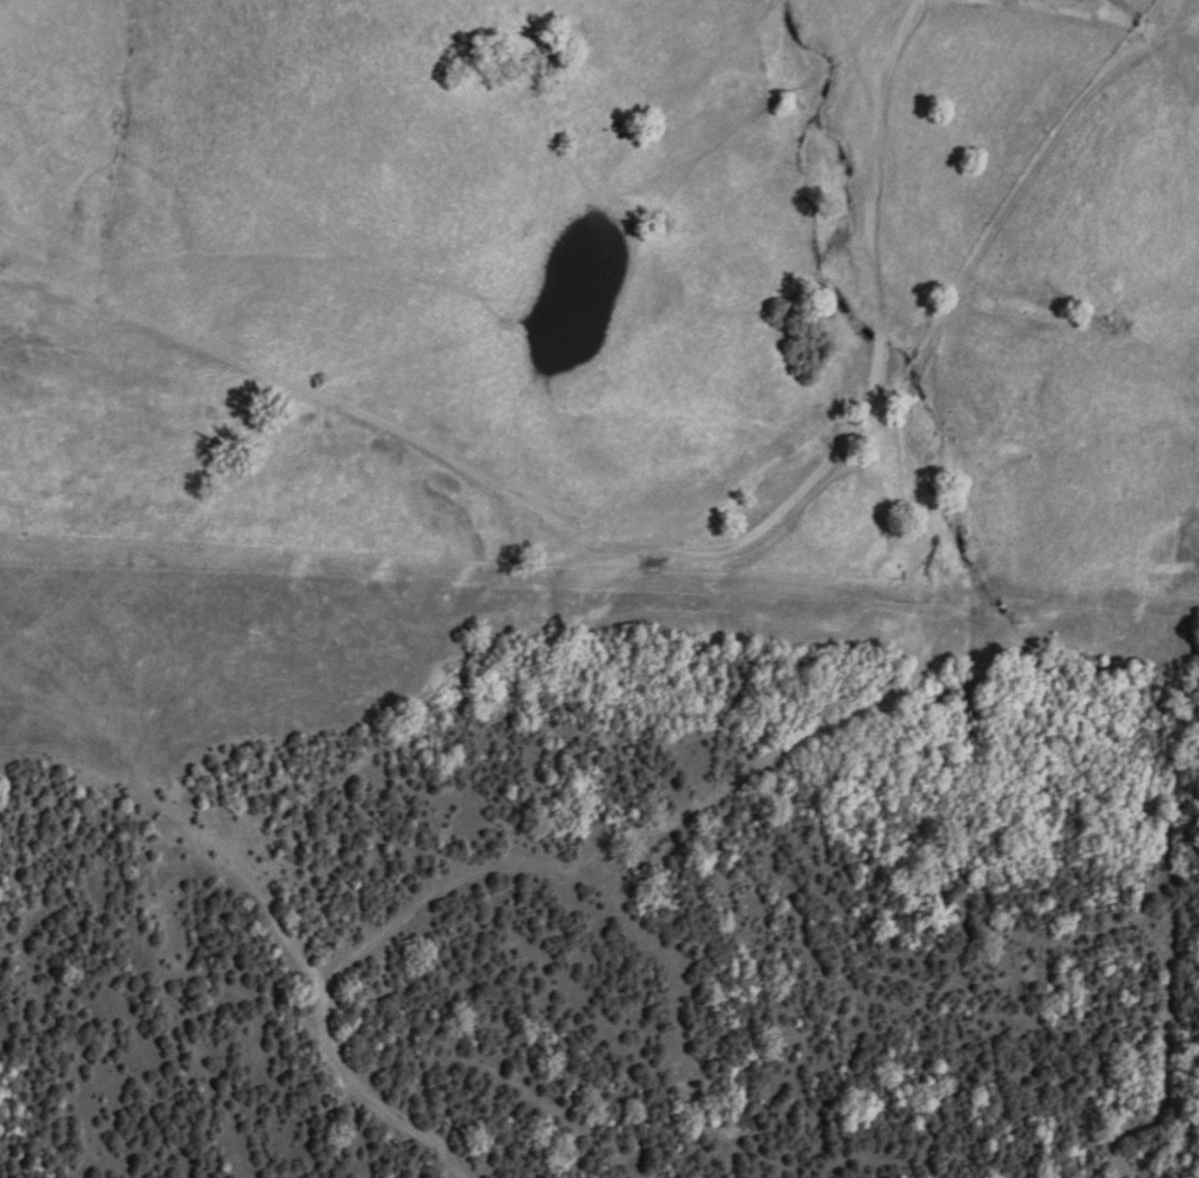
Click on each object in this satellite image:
road: (642, 537)

